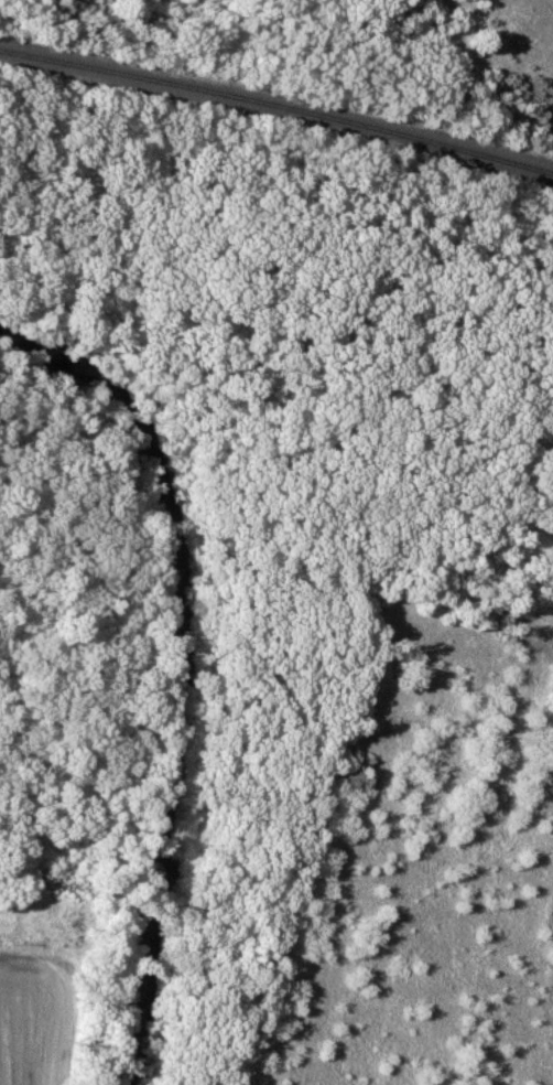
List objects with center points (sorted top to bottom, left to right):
railway: (276, 106)
river: (194, 645)

